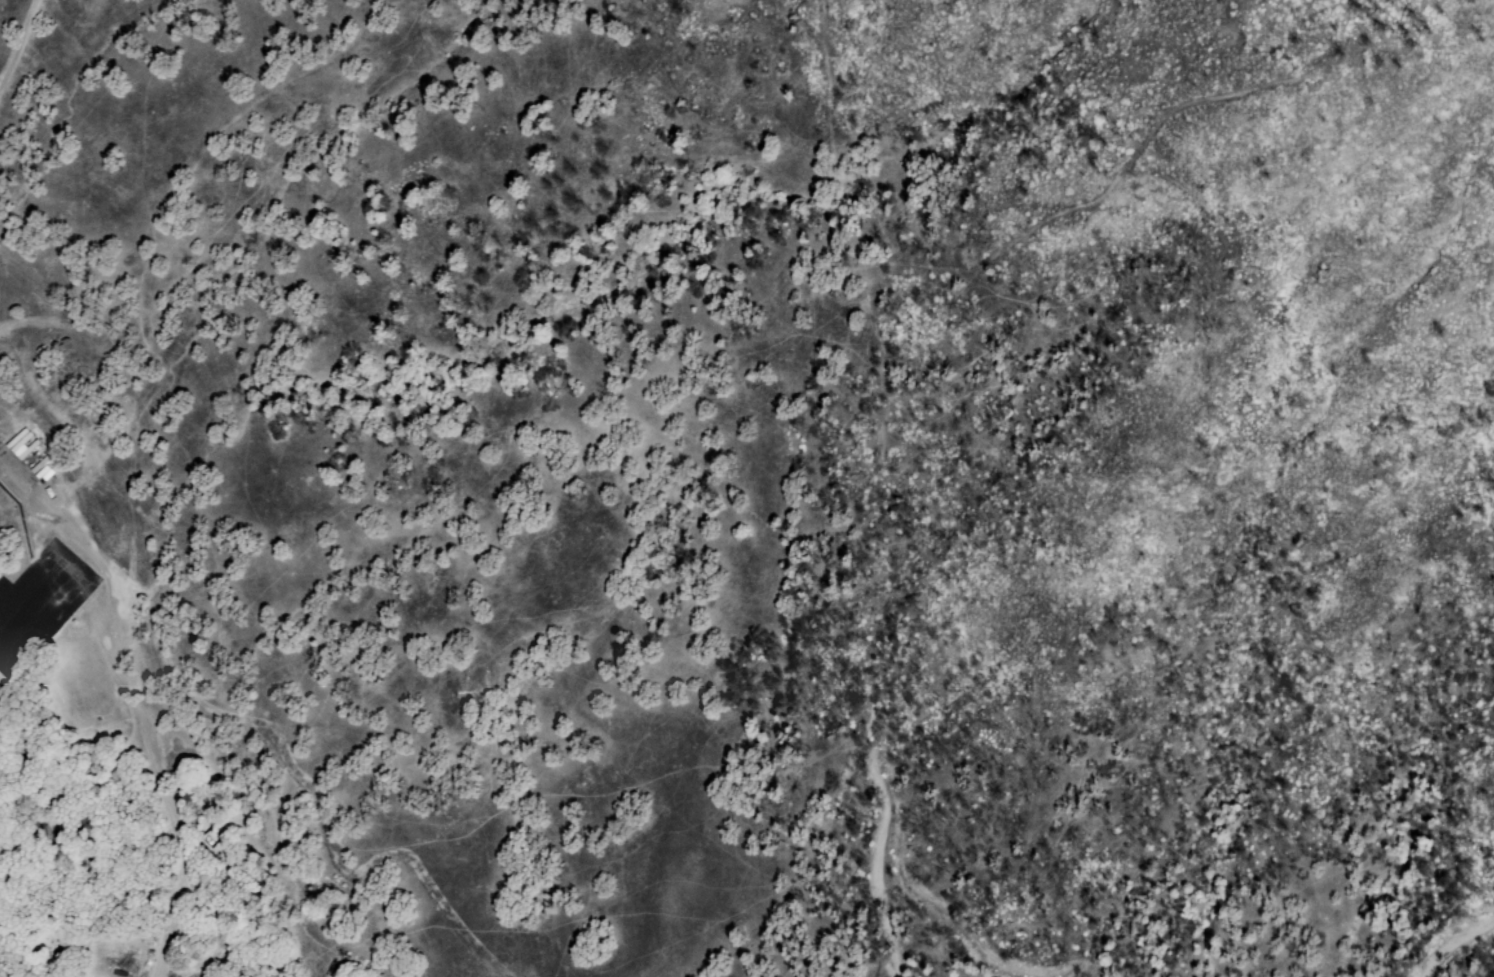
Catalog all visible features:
road: (6, 455)

